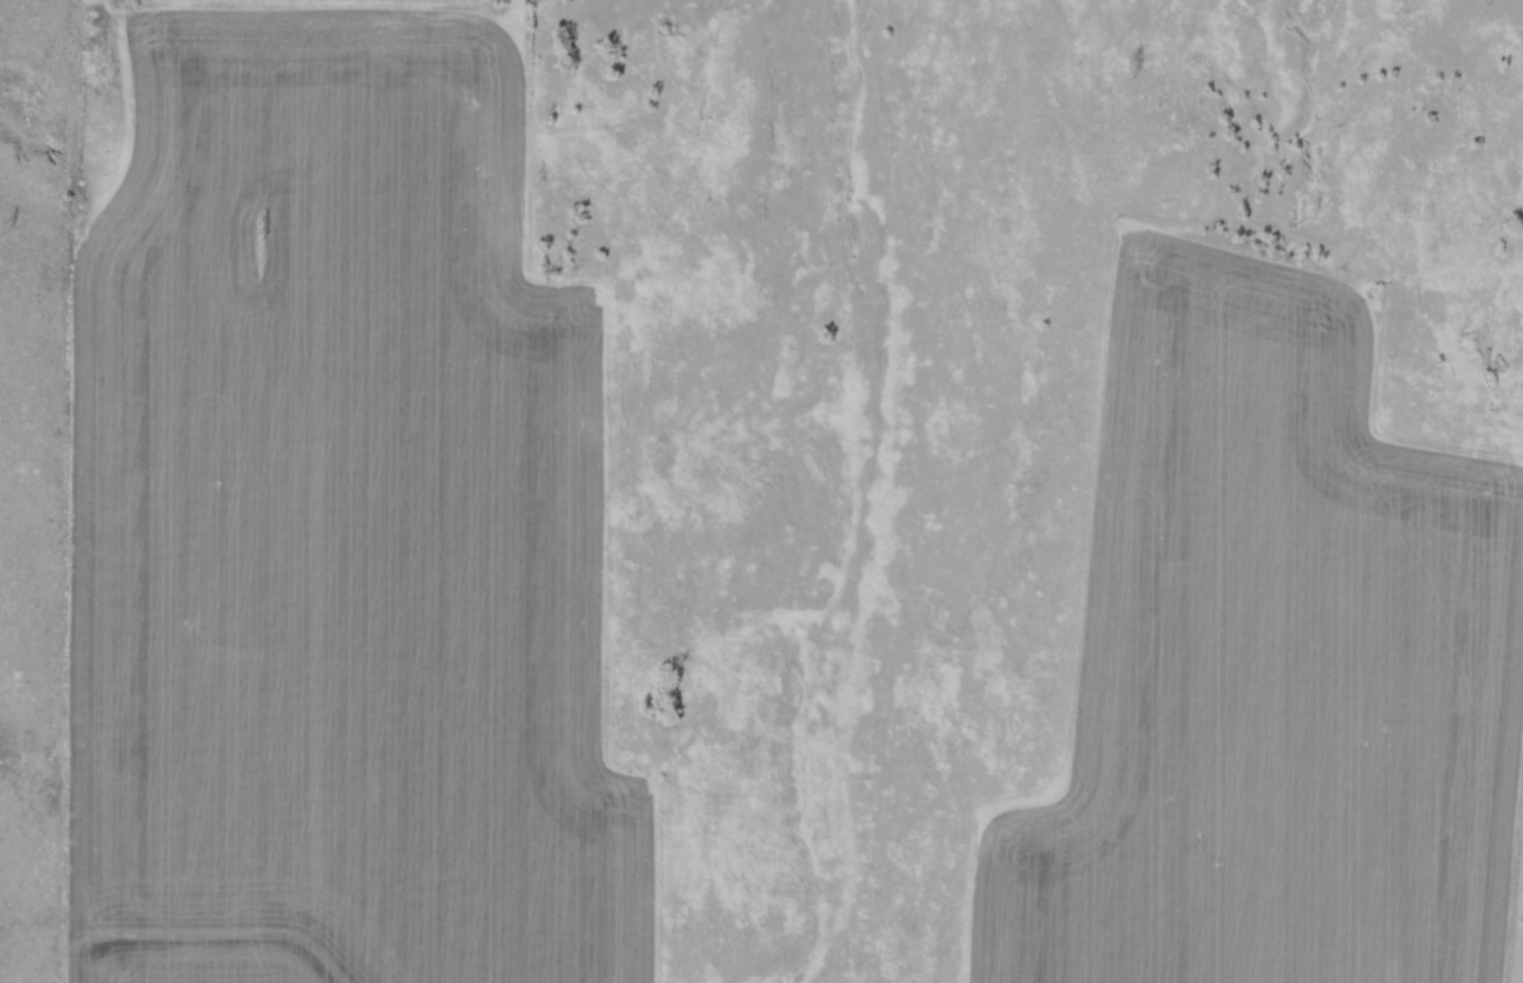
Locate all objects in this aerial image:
power tower: (1485, 0)
power tower: (1133, 66)
power tower: (537, 180)
power tower: (7, 228)
power tower: (260, 233)

